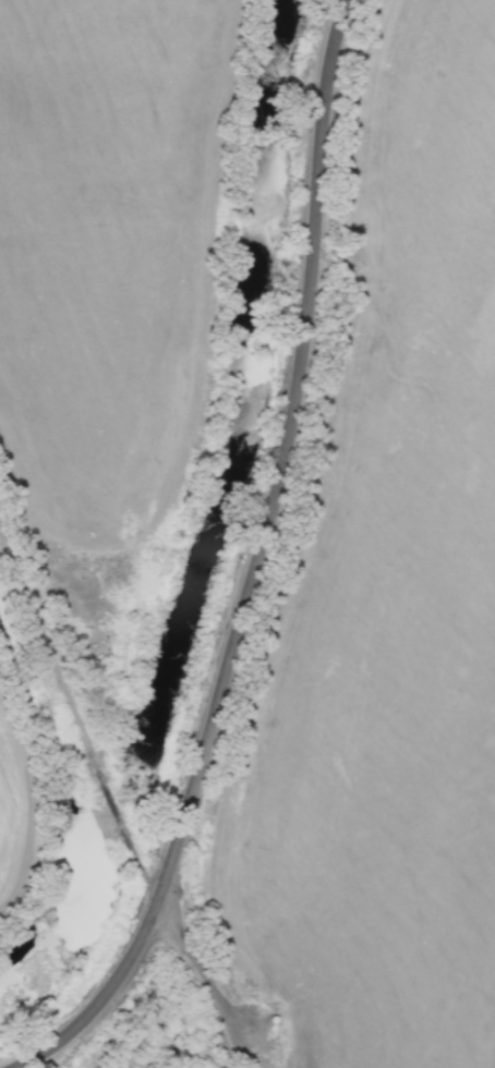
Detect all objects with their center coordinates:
crop: (99, 247)
road: (244, 563)
crop: (388, 597)
road: (204, 972)

